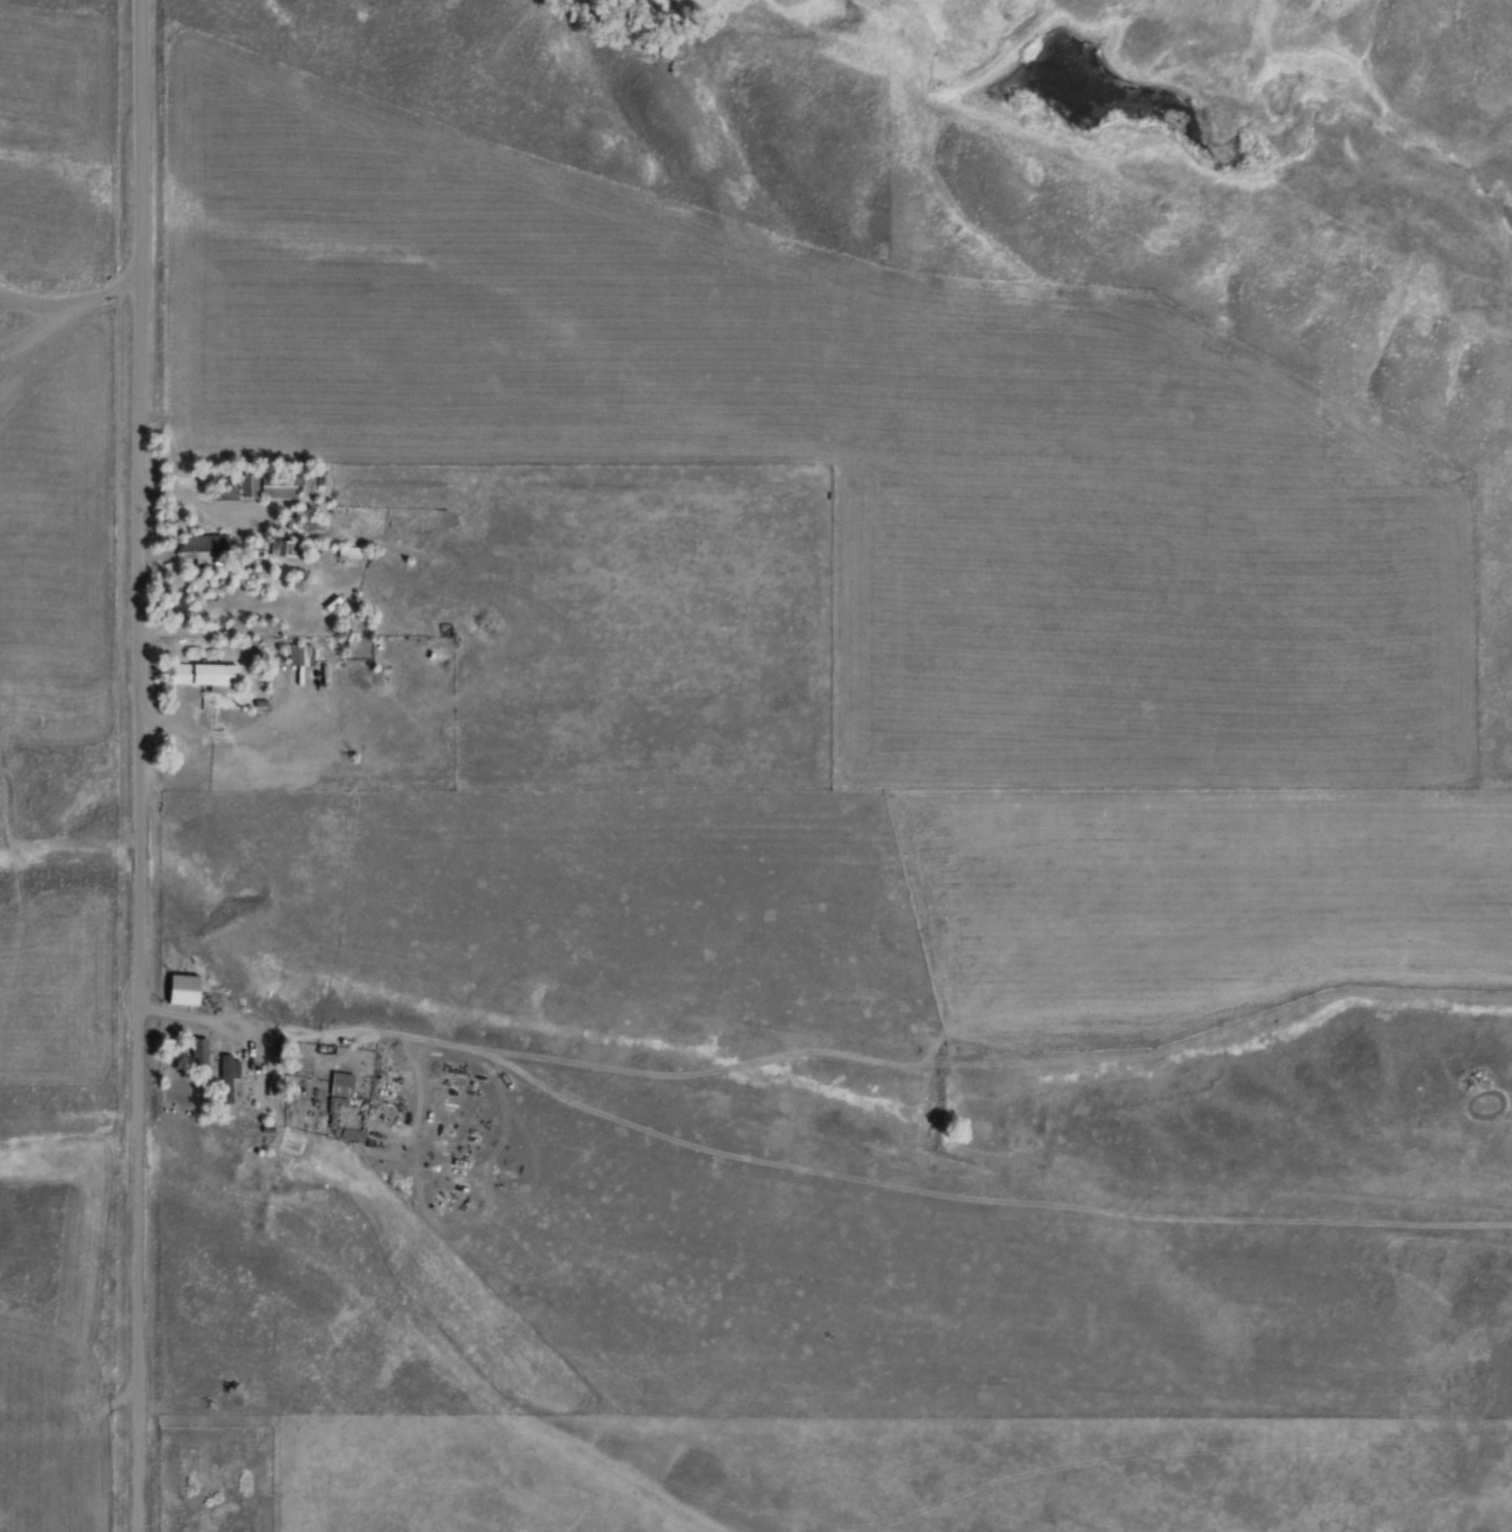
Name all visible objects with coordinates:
building: (286, 480)
building: (249, 487)
building: (305, 524)
building: (286, 550)
building: (204, 551)
building: (301, 656)
building: (210, 676)
road: (135, 766)
building: (187, 991)
building: (201, 1053)
building: (231, 1079)
building: (343, 1086)
park: (216, 1479)

